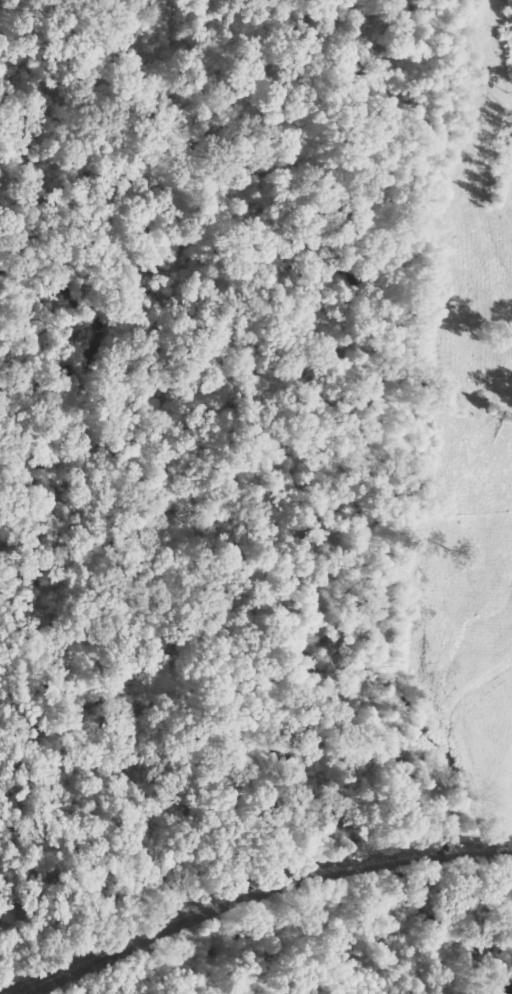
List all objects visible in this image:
road: (272, 903)

